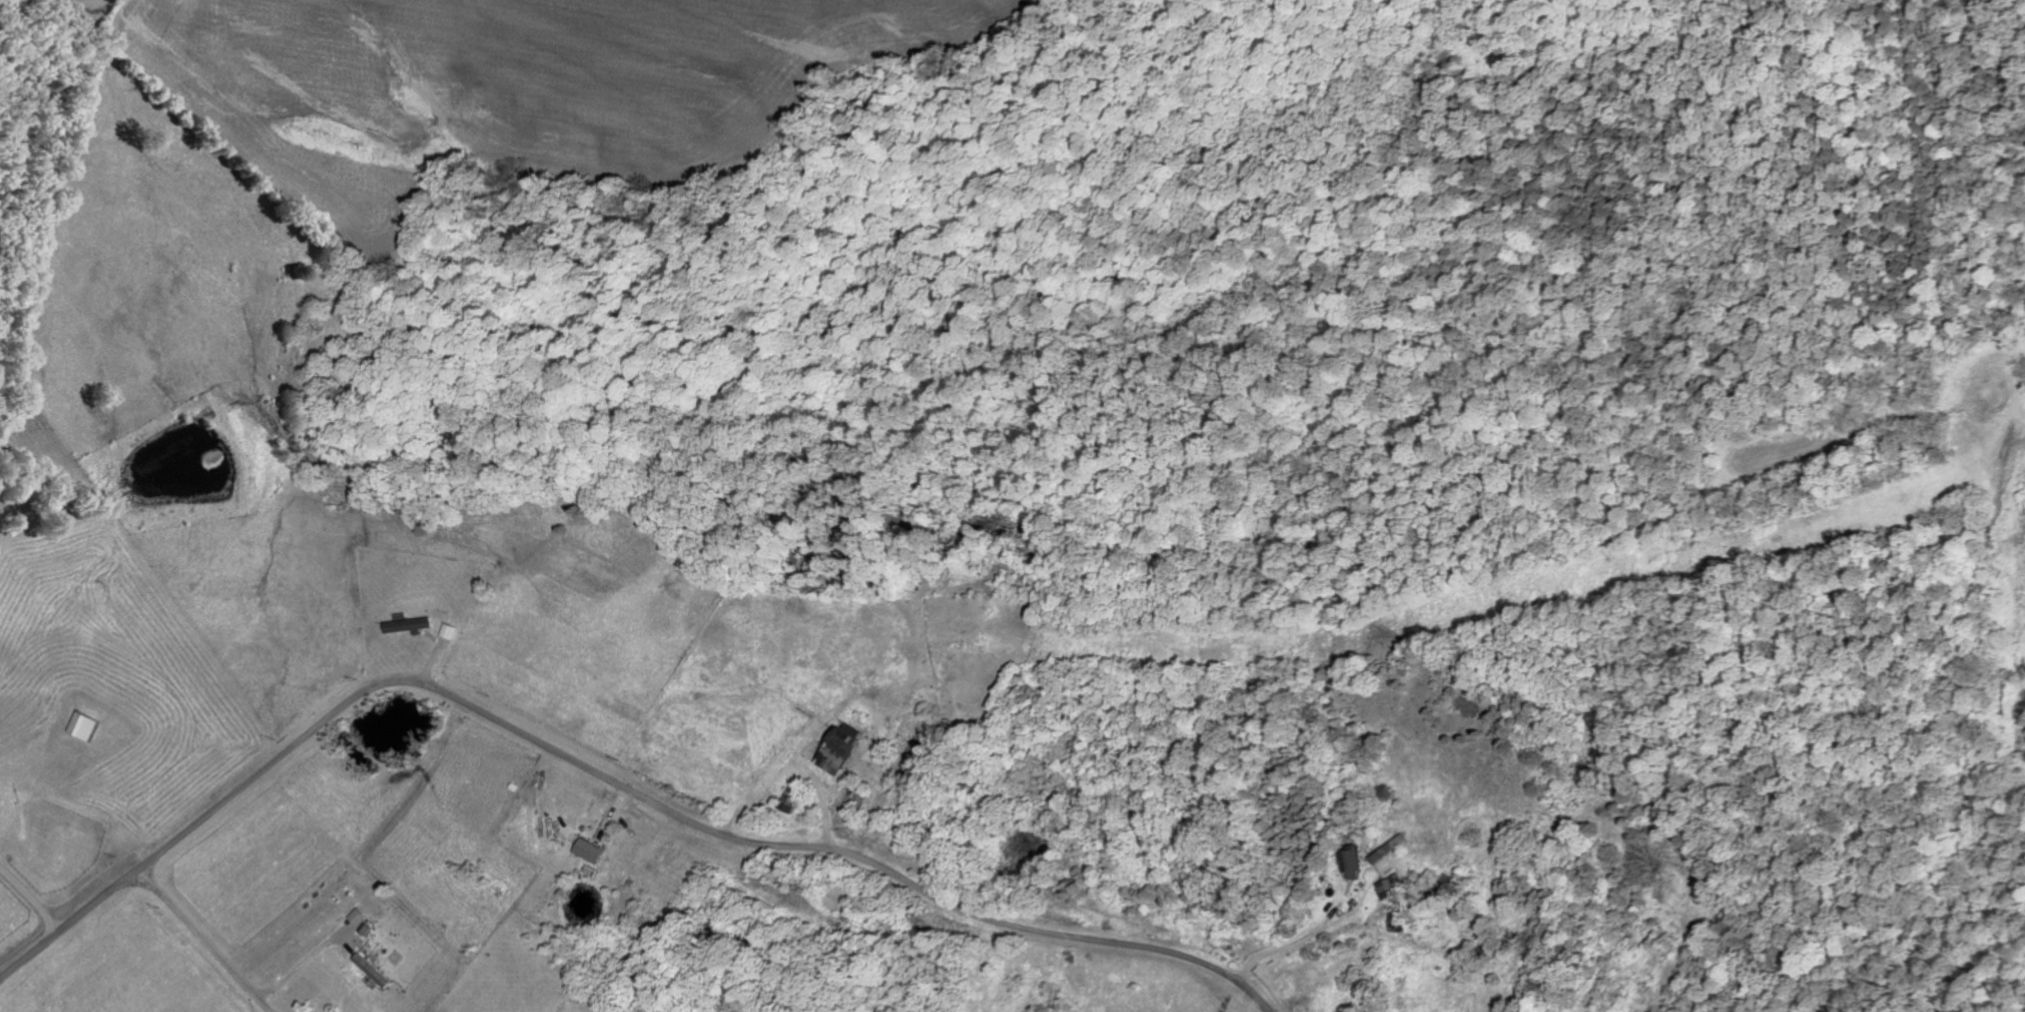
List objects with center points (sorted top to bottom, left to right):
building: (408, 625)
building: (449, 631)
building: (842, 748)
road: (604, 776)
building: (793, 798)
building: (0, 802)
building: (590, 851)
building: (1352, 863)
building: (1390, 886)
road: (201, 939)
building: (373, 971)

